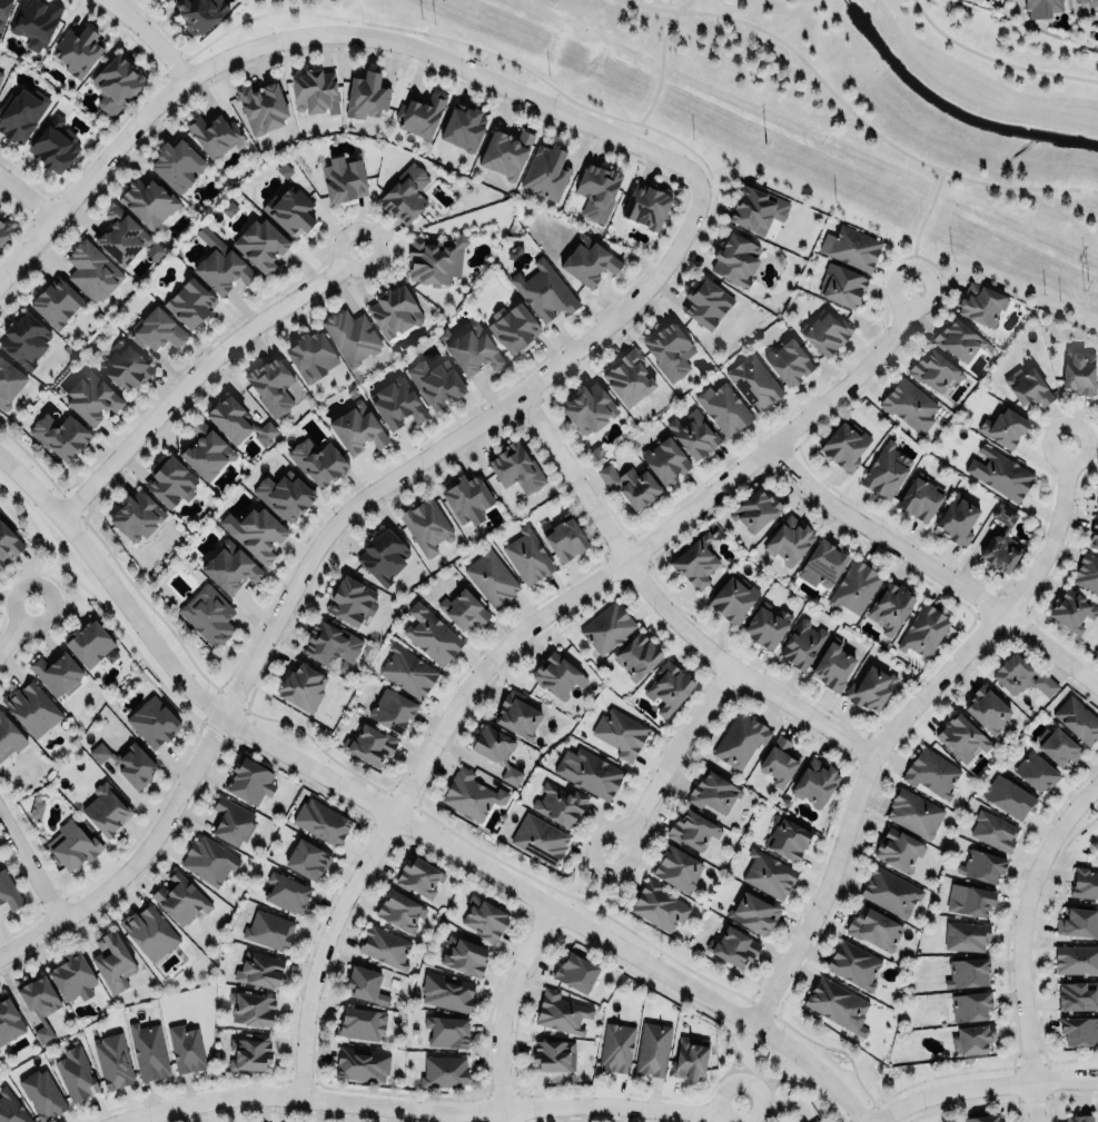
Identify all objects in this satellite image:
building: (167, 0)
building: (1088, 2)
building: (1041, 8)
building: (3, 11)
building: (199, 13)
building: (33, 21)
road: (318, 32)
road: (149, 36)
building: (77, 50)
road: (996, 60)
road: (661, 70)
building: (0, 75)
building: (115, 83)
building: (314, 91)
building: (365, 96)
building: (261, 106)
park: (854, 110)
road: (851, 111)
building: (20, 113)
building: (421, 113)
building: (463, 127)
building: (214, 135)
power tower: (763, 142)
building: (48, 147)
building: (504, 153)
building: (175, 162)
building: (545, 171)
building: (339, 179)
building: (595, 189)
building: (405, 193)
road: (26, 196)
building: (147, 201)
building: (644, 206)
building: (755, 209)
building: (289, 210)
road: (918, 228)
building: (3, 230)
building: (120, 236)
building: (260, 245)
building: (850, 247)
building: (434, 258)
building: (734, 259)
building: (588, 260)
building: (219, 264)
building: (91, 271)
building: (840, 286)
power tower: (1084, 286)
building: (544, 290)
building: (55, 301)
building: (705, 301)
building: (189, 302)
building: (977, 302)
building: (393, 311)
building: (510, 325)
building: (155, 329)
building: (823, 331)
building: (350, 336)
building: (24, 339)
building: (957, 341)
building: (472, 348)
building: (669, 350)
building: (310, 355)
building: (787, 361)
building: (123, 366)
building: (933, 370)
building: (1078, 370)
road: (197, 371)
building: (627, 377)
building: (9, 383)
building: (753, 383)
building: (435, 384)
building: (270, 385)
building: (1027, 388)
building: (90, 397)
building: (396, 404)
building: (909, 405)
building: (588, 408)
building: (723, 408)
building: (227, 419)
building: (356, 428)
building: (1002, 428)
building: (59, 435)
building: (692, 435)
building: (843, 447)
building: (205, 450)
building: (663, 460)
building: (317, 461)
building: (515, 468)
building: (886, 470)
building: (999, 473)
building: (170, 481)
building: (629, 484)
building: (284, 495)
building: (918, 499)
building: (467, 500)
building: (1097, 502)
building: (753, 510)
building: (135, 516)
building: (956, 519)
building: (425, 525)
building: (257, 534)
building: (1094, 534)
road: (317, 539)
building: (563, 539)
building: (789, 540)
building: (7, 544)
building: (1000, 552)
building: (383, 555)
building: (526, 556)
building: (694, 562)
building: (821, 564)
building: (230, 567)
road: (930, 569)
building: (1086, 572)
building: (491, 577)
building: (853, 586)
building: (733, 597)
building: (349, 602)
road: (660, 607)
building: (890, 608)
building: (462, 609)
building: (1071, 609)
building: (207, 615)
road: (16, 623)
building: (766, 624)
building: (605, 627)
building: (923, 630)
road: (518, 632)
building: (431, 634)
building: (89, 641)
building: (801, 643)
building: (329, 644)
building: (636, 655)
building: (832, 665)
building: (51, 671)
building: (407, 672)
building: (1020, 673)
building: (556, 676)
building: (666, 686)
building: (300, 687)
building: (870, 689)
building: (986, 704)
building: (31, 707)
building: (392, 712)
building: (517, 713)
building: (1077, 716)
building: (152, 719)
road: (894, 722)
building: (620, 732)
building: (9, 735)
building: (961, 737)
building: (740, 739)
building: (1058, 743)
building: (369, 745)
building: (496, 748)
road: (666, 756)
building: (127, 759)
building: (778, 762)
building: (1035, 767)
building: (931, 769)
building: (591, 772)
building: (250, 778)
building: (814, 781)
building: (713, 793)
building: (471, 794)
building: (1009, 796)
building: (557, 803)
building: (36, 808)
building: (106, 808)
building: (913, 813)
building: (233, 818)
building: (320, 820)
road: (402, 823)
building: (692, 827)
building: (993, 831)
building: (785, 836)
building: (540, 837)
building: (71, 844)
building: (899, 847)
building: (306, 855)
building: (208, 858)
building: (980, 863)
road: (29, 866)
building: (676, 866)
building: (768, 873)
building: (418, 876)
building: (1084, 882)
road: (600, 888)
building: (9, 890)
building: (286, 890)
building: (890, 892)
building: (180, 896)
building: (969, 897)
building: (659, 906)
building: (400, 908)
building: (754, 911)
building: (482, 915)
building: (1078, 921)
building: (268, 927)
building: (874, 929)
building: (148, 931)
building: (966, 934)
road: (1018, 940)
building: (384, 944)
building: (733, 944)
building: (464, 954)
building: (112, 960)
building: (1076, 960)
building: (853, 963)
building: (259, 970)
building: (575, 970)
building: (968, 971)
building: (72, 974)
building: (368, 981)
building: (446, 991)
building: (1077, 995)
building: (39, 997)
building: (835, 1001)
building: (970, 1004)
building: (253, 1006)
road: (502, 1010)
building: (561, 1011)
building: (8, 1019)
building: (360, 1020)
building: (1079, 1029)
building: (446, 1031)
building: (43, 1033)
building: (971, 1036)
building: (616, 1046)
building: (186, 1047)
building: (651, 1049)
building: (148, 1050)
building: (250, 1051)
building: (546, 1053)
building: (689, 1058)
building: (111, 1059)
building: (362, 1063)
building: (444, 1068)
road: (754, 1072)
building: (75, 1073)
road: (982, 1084)
road: (748, 1088)
building: (40, 1092)
building: (10, 1108)
road: (425, 1111)
building: (982, 1116)
building: (1076, 1116)
building: (814, 1120)
building: (802, 1121)

